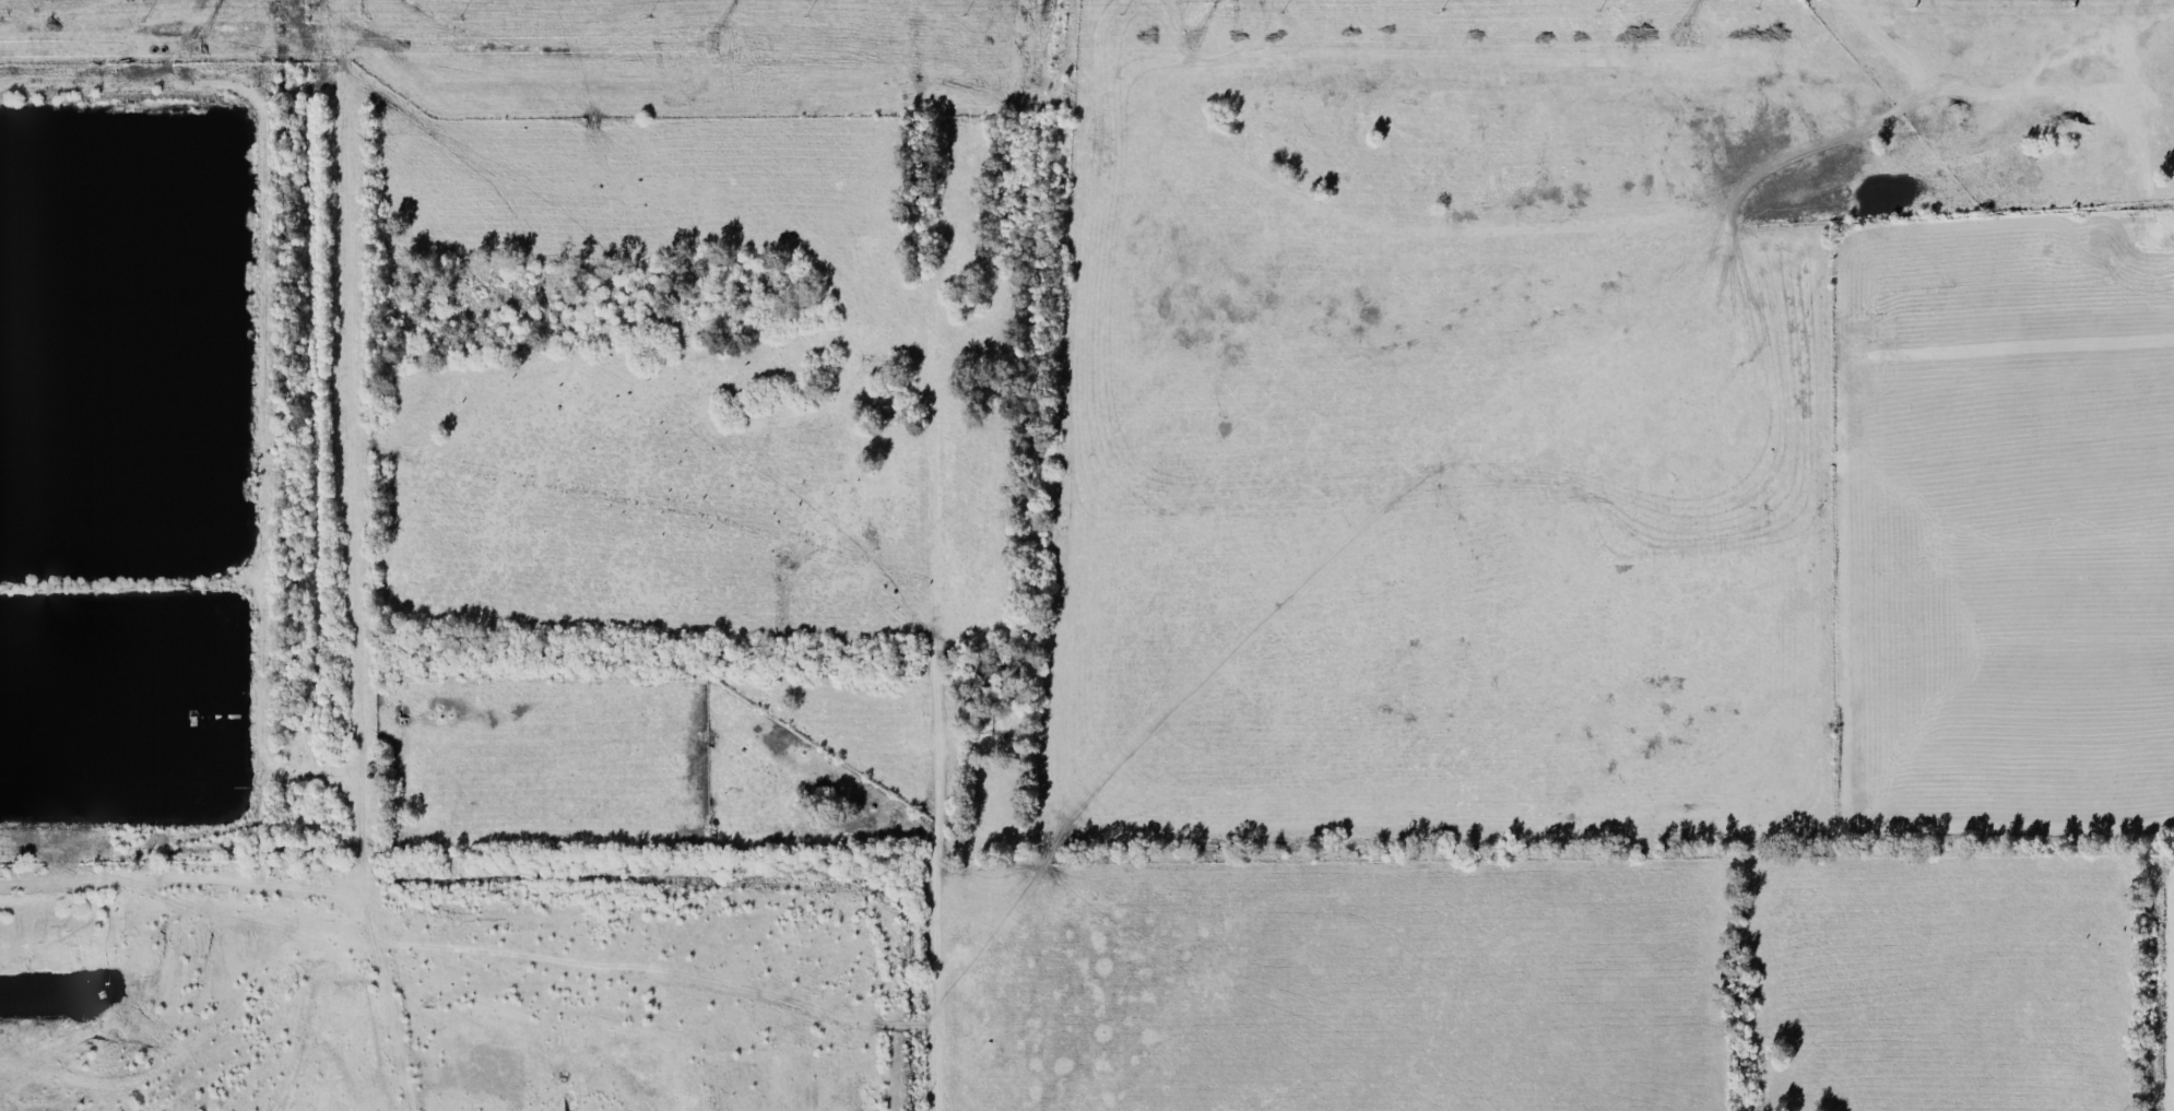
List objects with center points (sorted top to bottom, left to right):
power tower: (1694, 38)
power tower: (1192, 42)
power tower: (693, 44)
power tower: (191, 48)
road: (930, 730)

